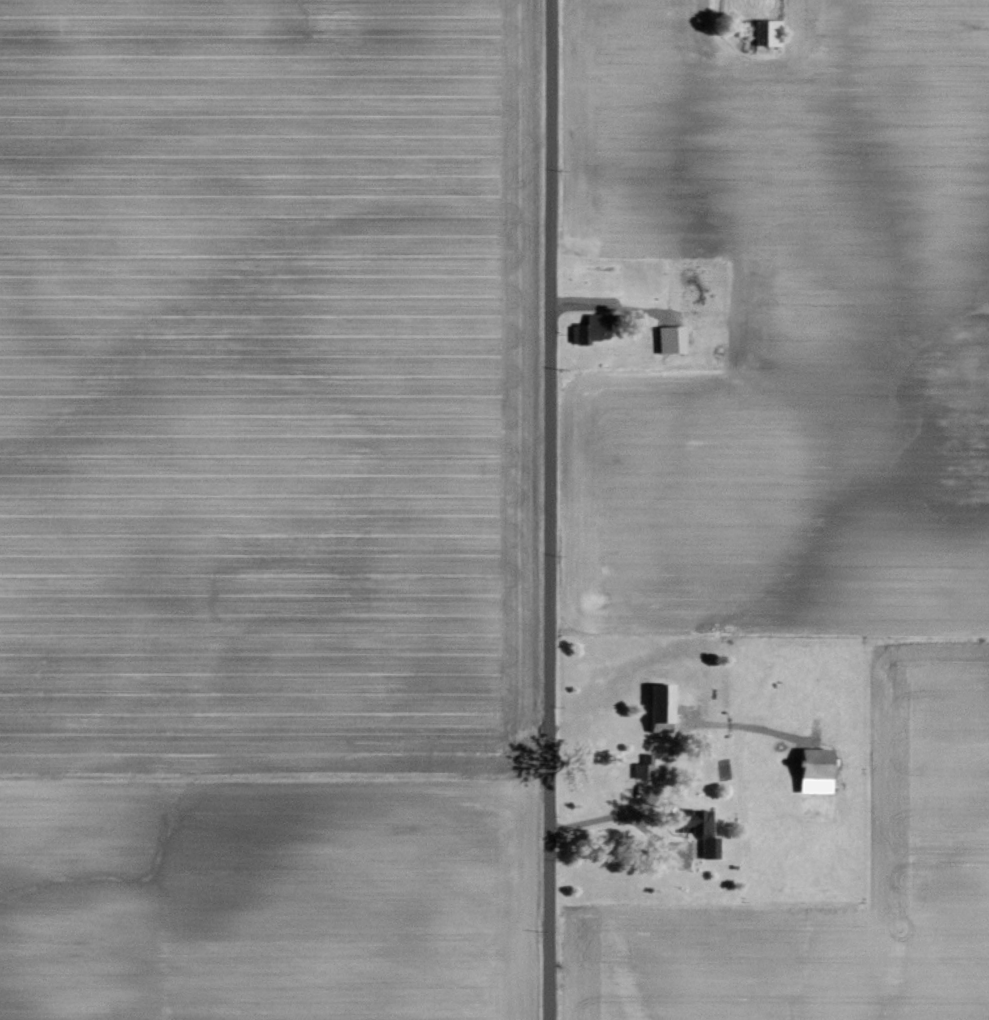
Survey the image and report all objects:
building: (765, 33)
building: (589, 330)
building: (667, 340)
road: (547, 509)
building: (657, 709)
building: (643, 767)
building: (810, 771)
road: (622, 820)
building: (698, 830)

